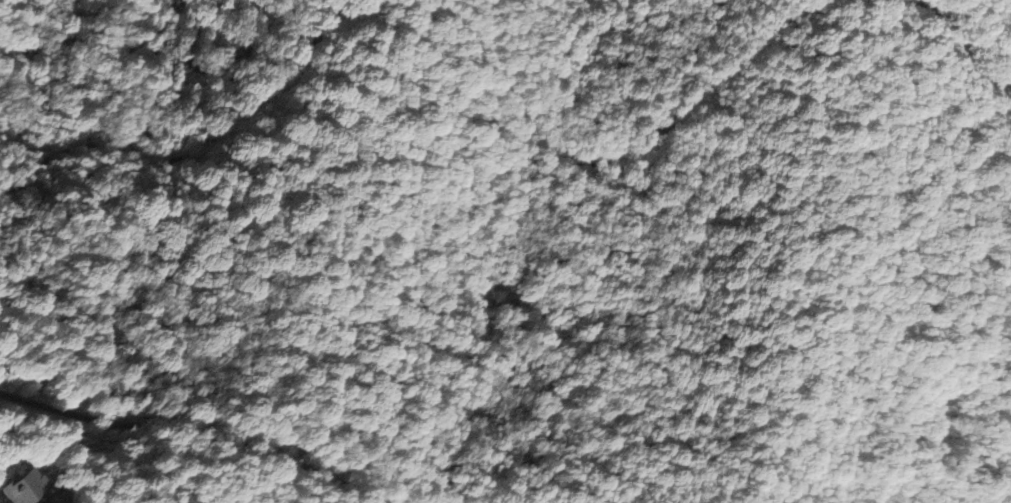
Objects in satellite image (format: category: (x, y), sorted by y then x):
road: (501, 126)
building: (20, 489)

